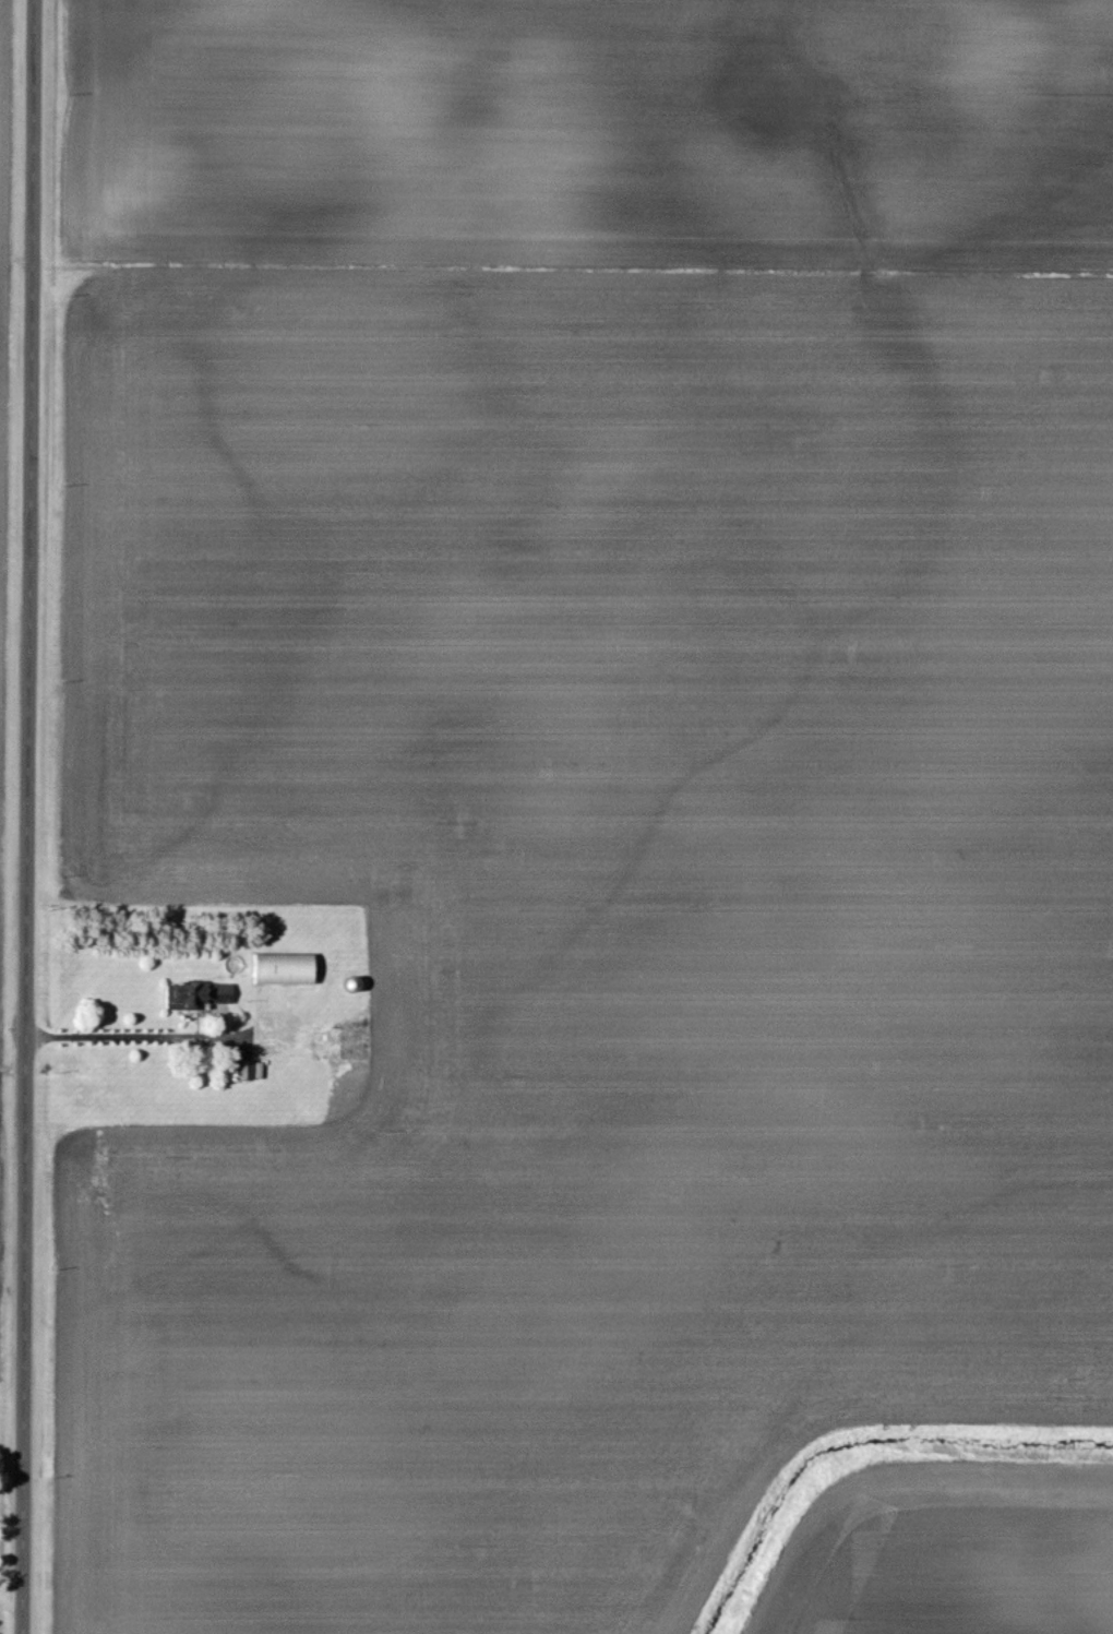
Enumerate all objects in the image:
road: (28, 816)
road: (129, 1038)
road: (11, 1582)

